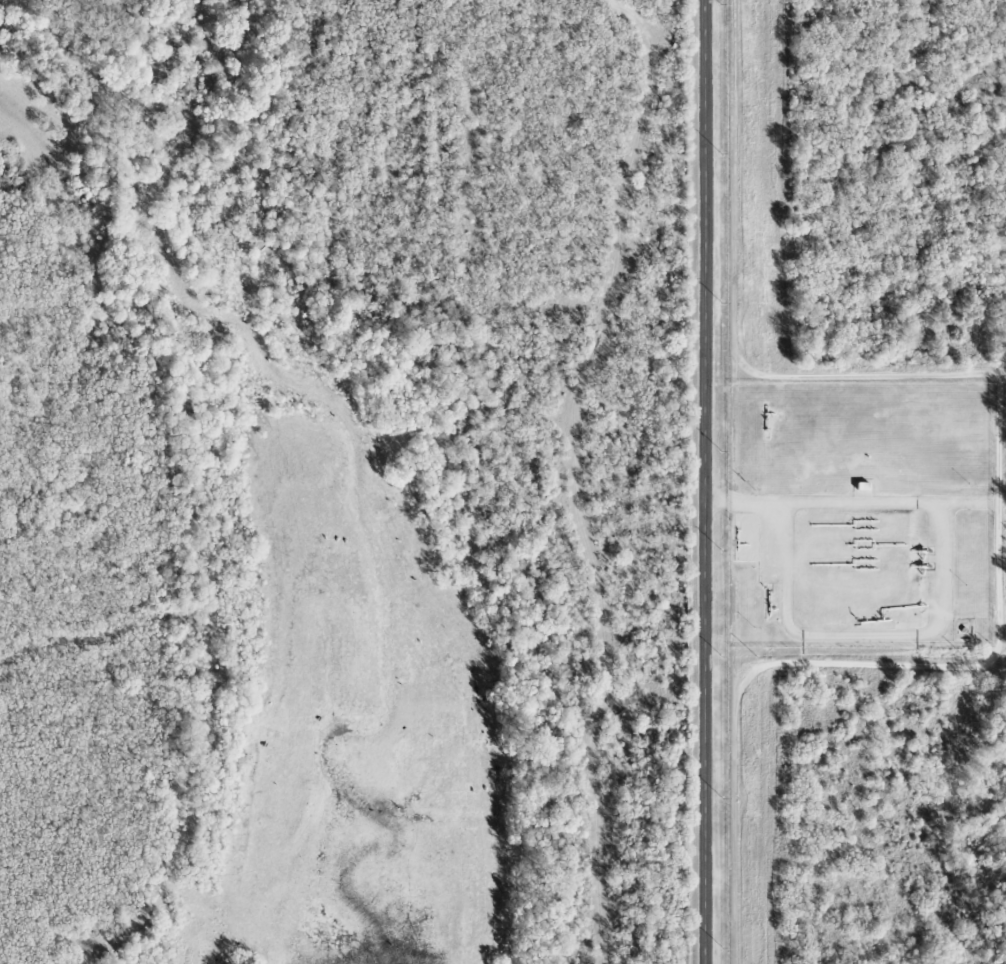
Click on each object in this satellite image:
road: (999, 480)
road: (704, 481)
road: (848, 503)
road: (1002, 609)
road: (865, 635)

